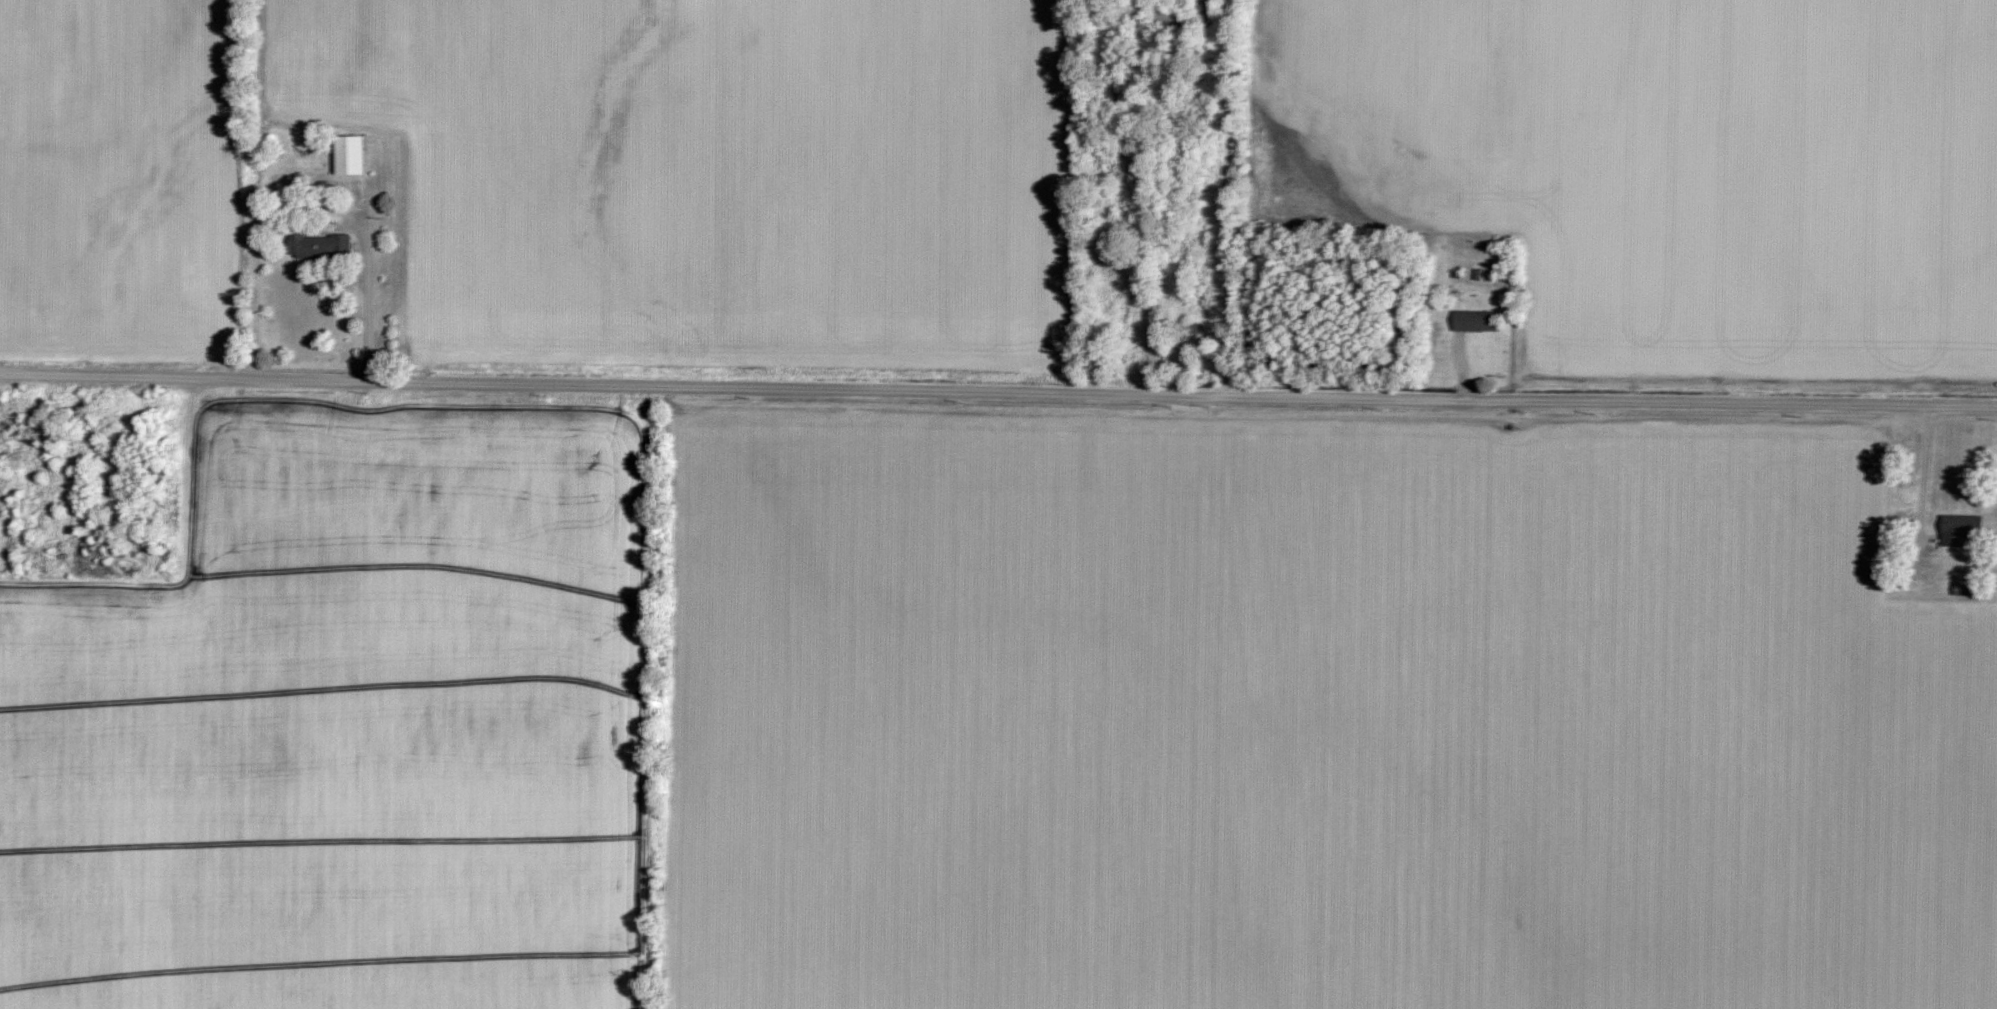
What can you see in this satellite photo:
building: (1201, 7)
building: (1165, 17)
building: (1116, 92)
building: (348, 155)
road: (1229, 197)
building: (316, 245)
road: (371, 292)
road: (1149, 315)
building: (1474, 321)
building: (1179, 325)
road: (998, 391)
road: (1926, 469)
building: (27, 510)
building: (1958, 529)

